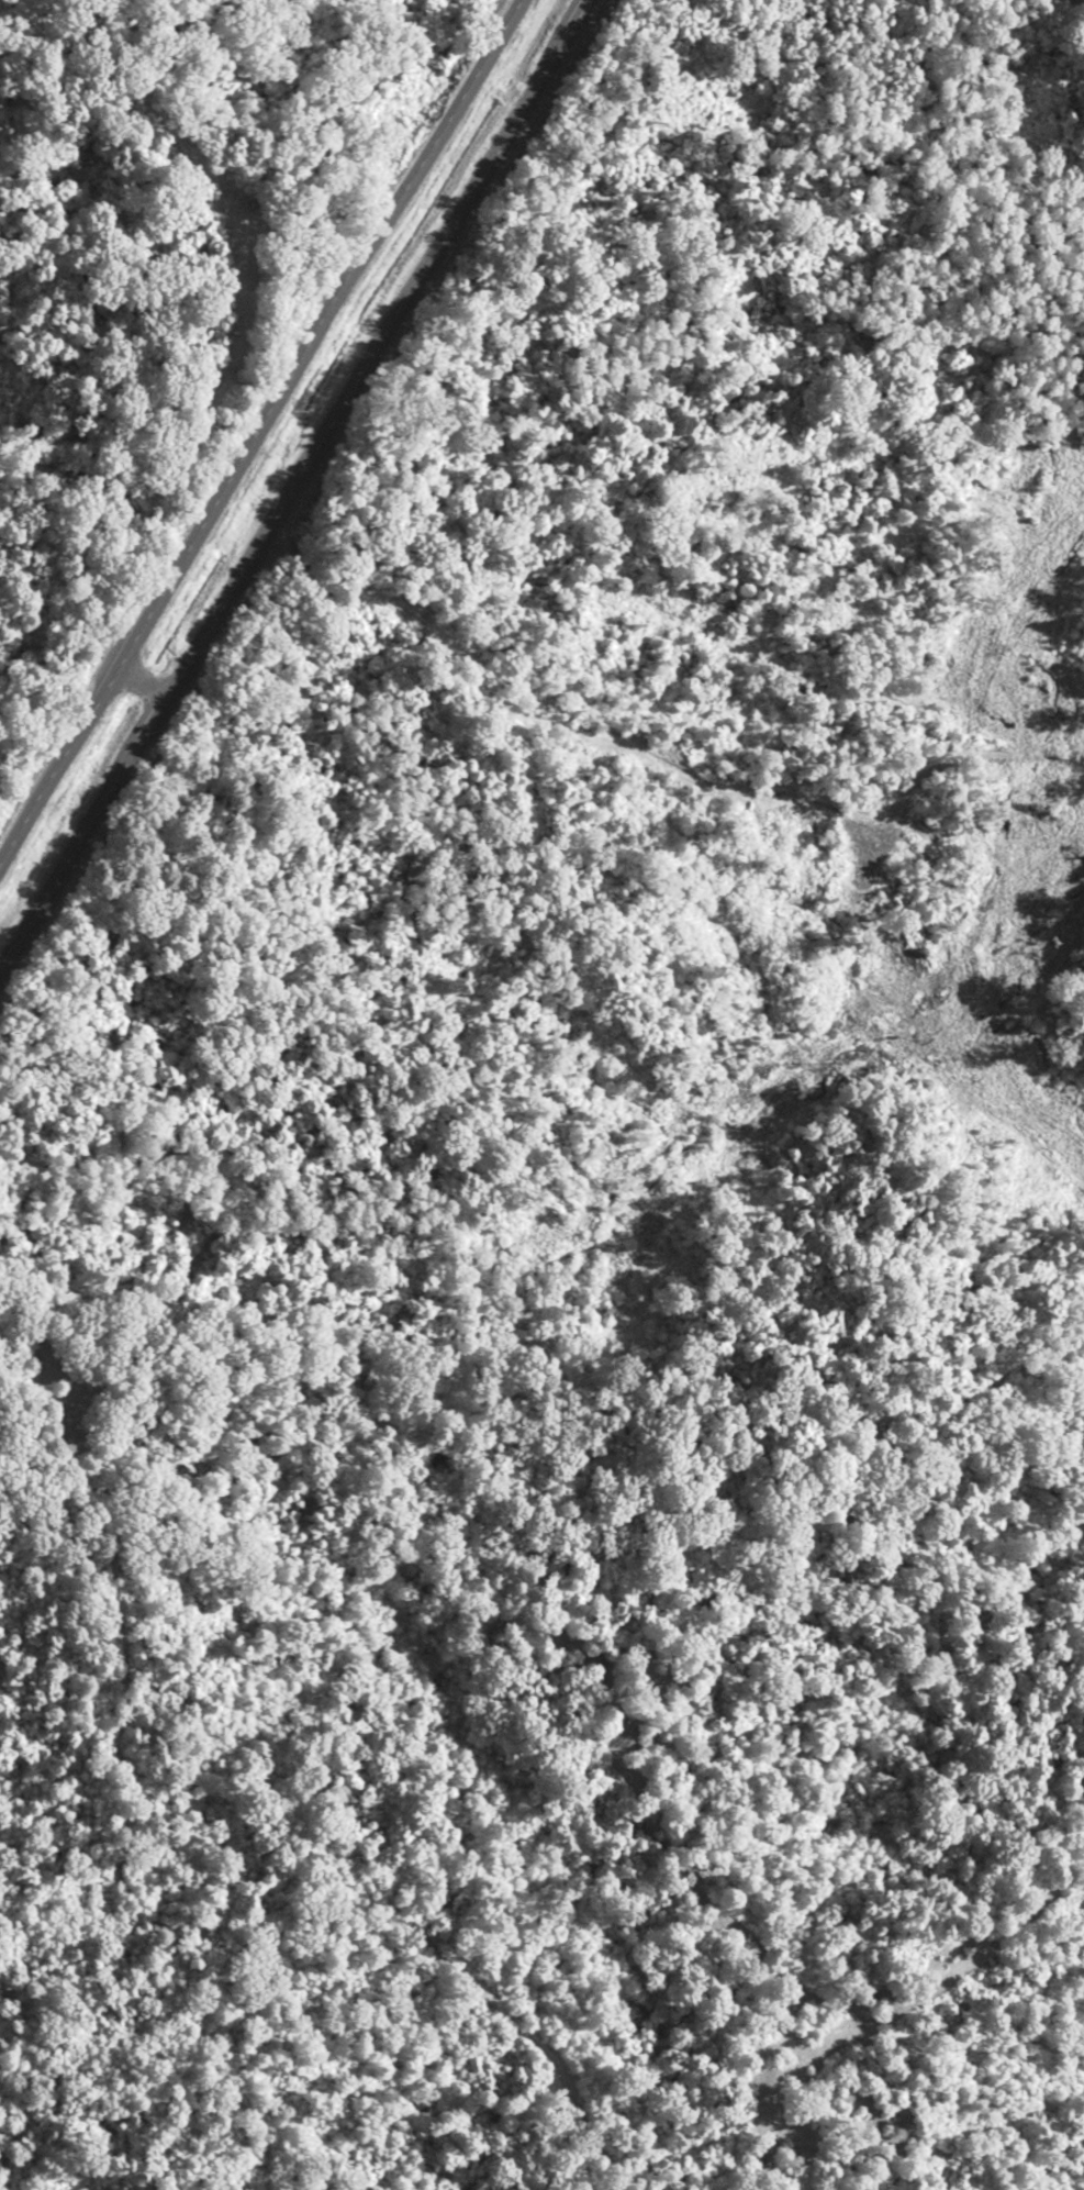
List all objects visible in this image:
road: (260, 426)
road: (294, 482)
road: (141, 682)

